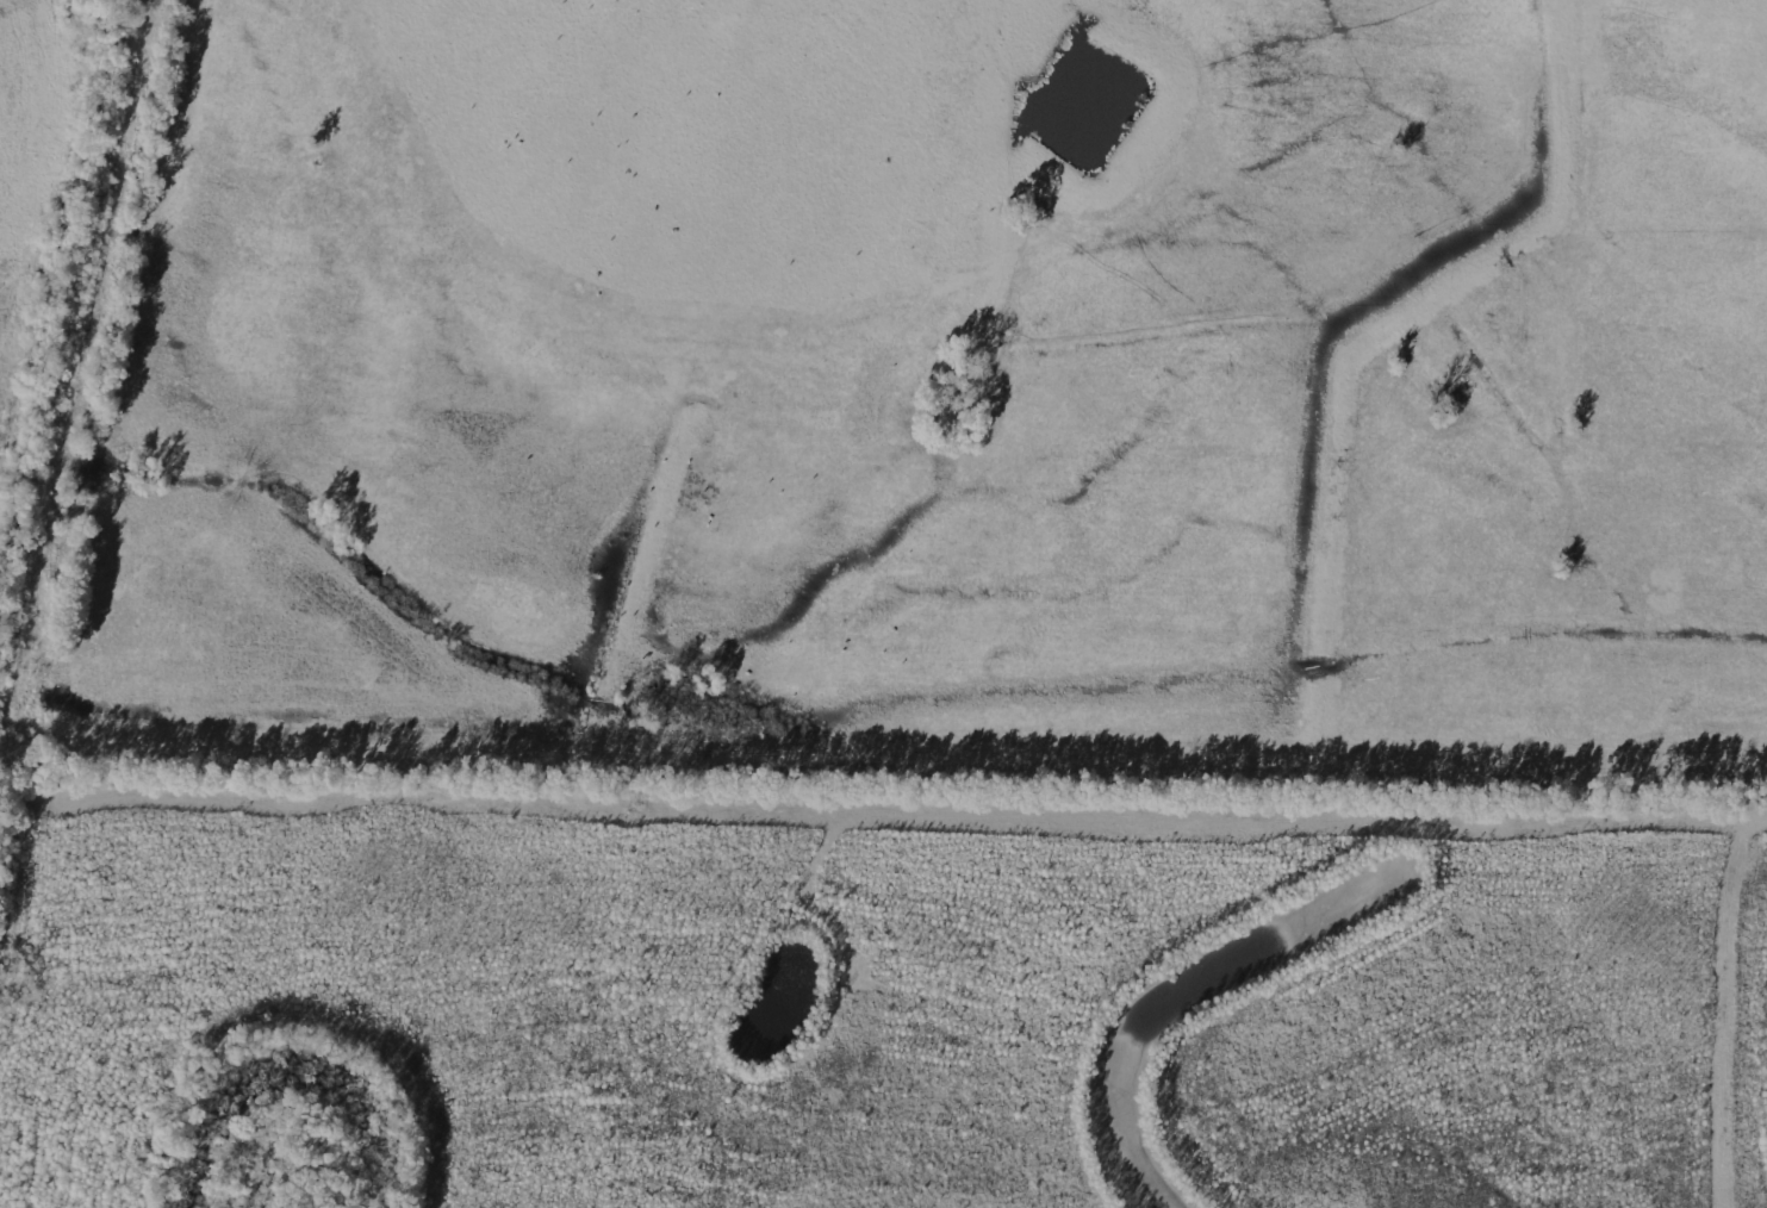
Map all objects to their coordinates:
road: (1742, 1011)

